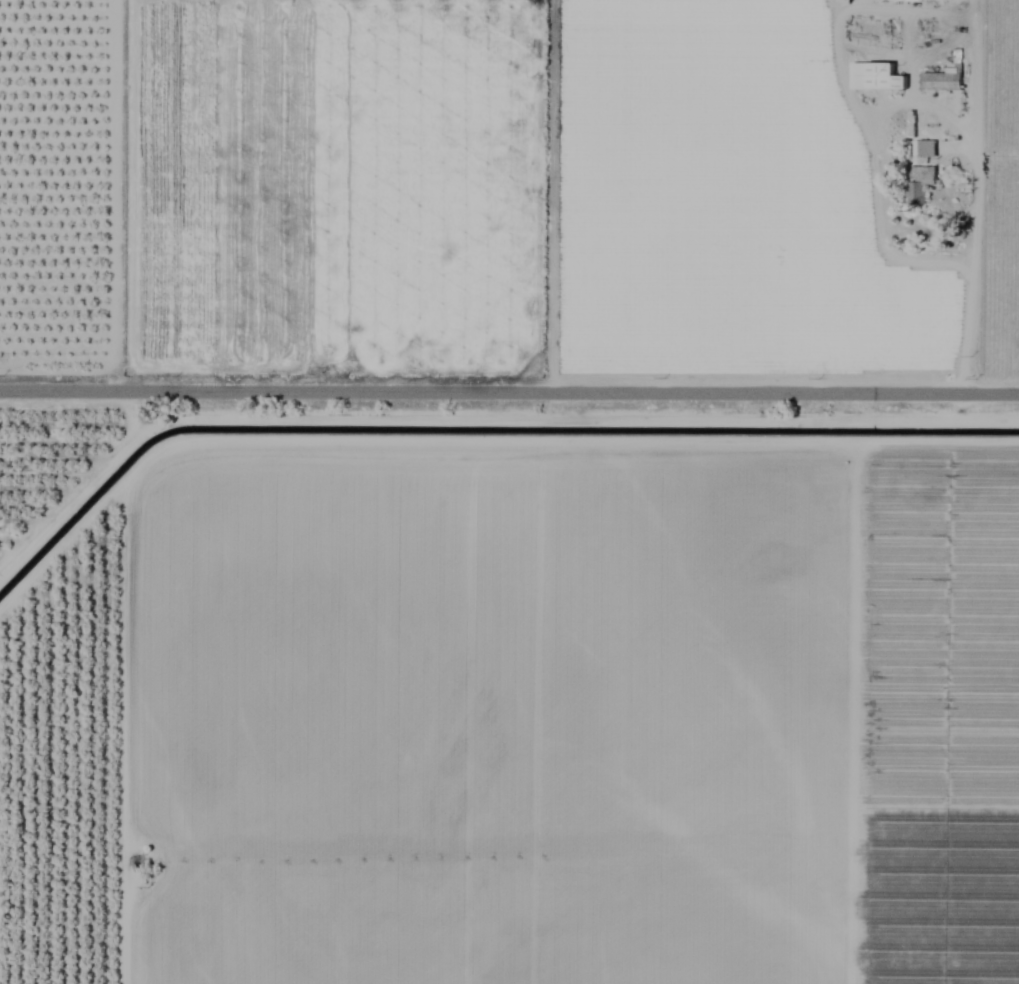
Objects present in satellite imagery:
building: (874, 77)
building: (939, 81)
building: (923, 149)
building: (918, 184)
road: (970, 195)
road: (509, 389)
crop: (509, 492)

